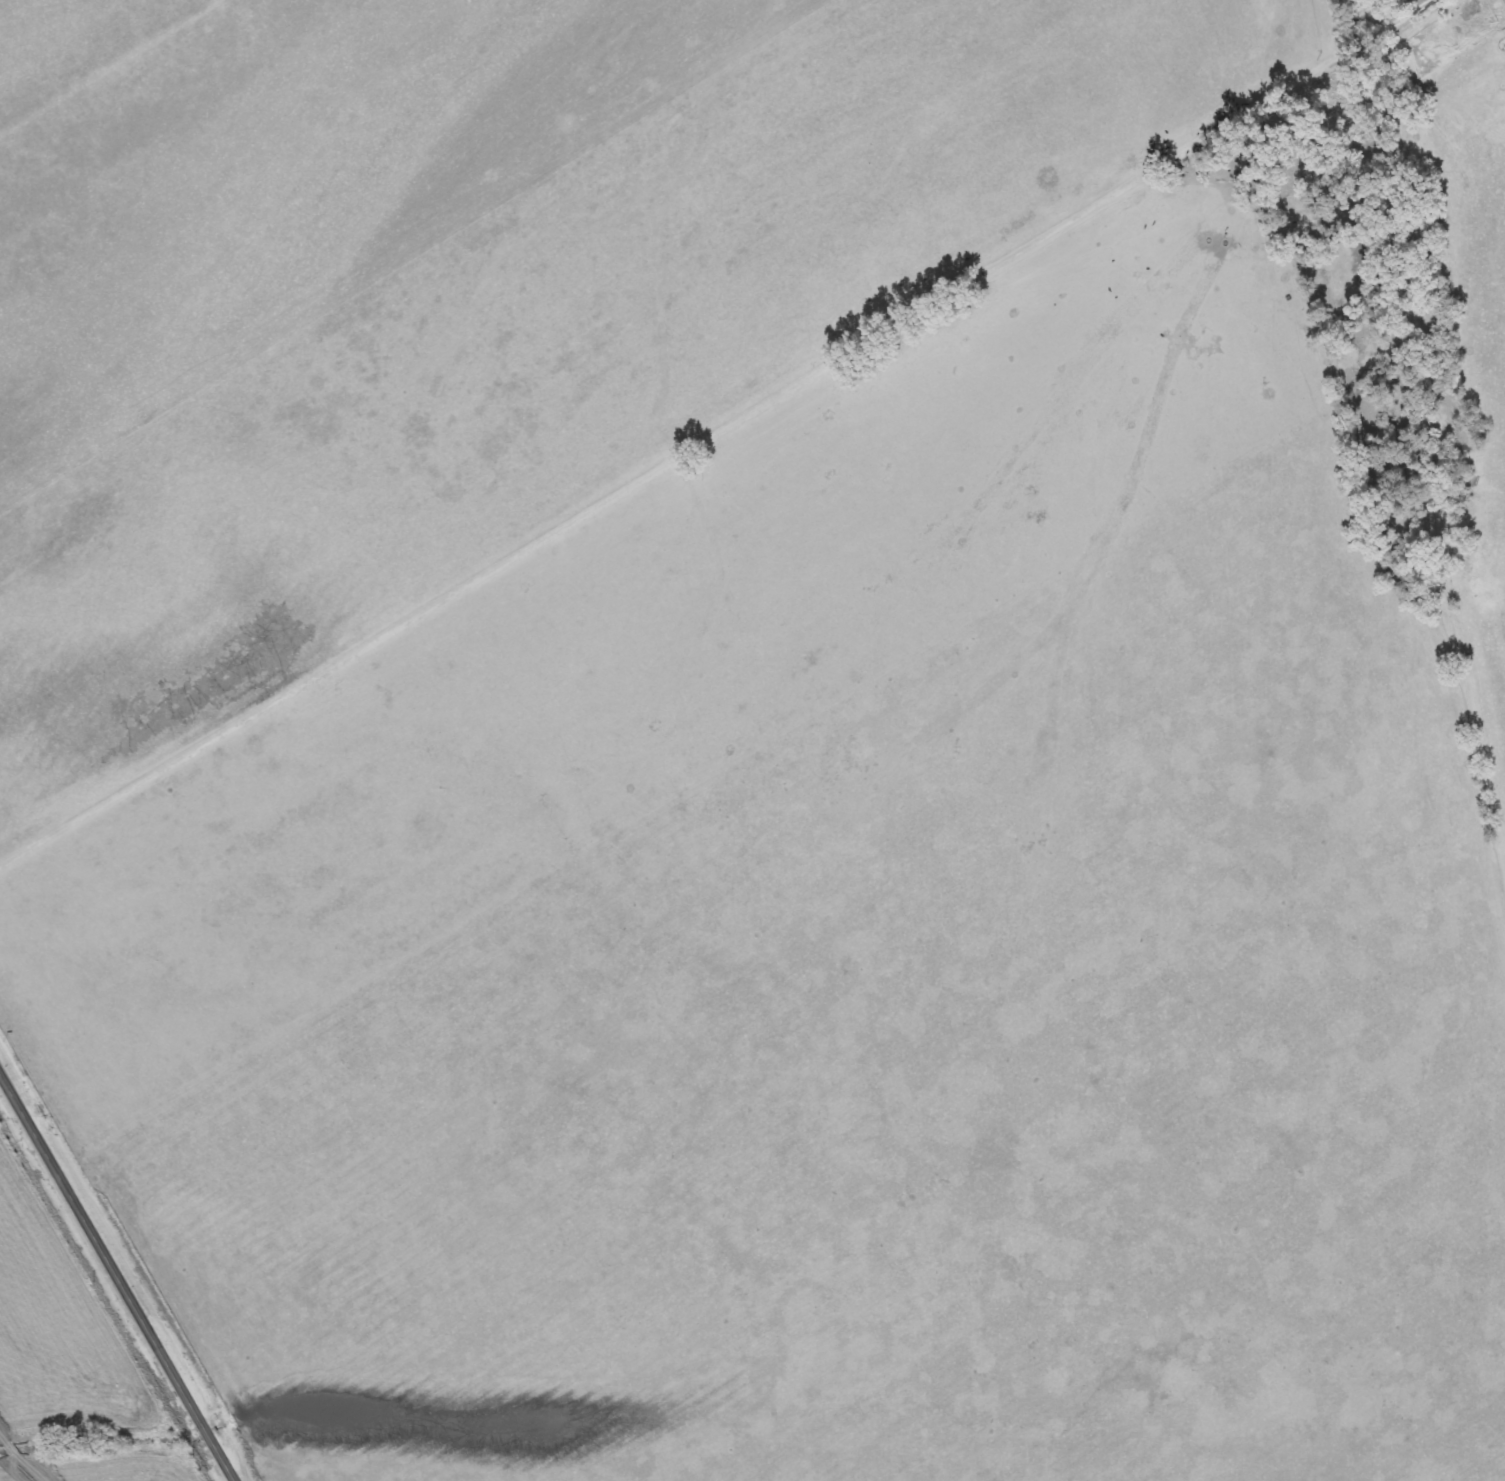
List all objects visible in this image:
road: (683, 436)
road: (117, 1279)

